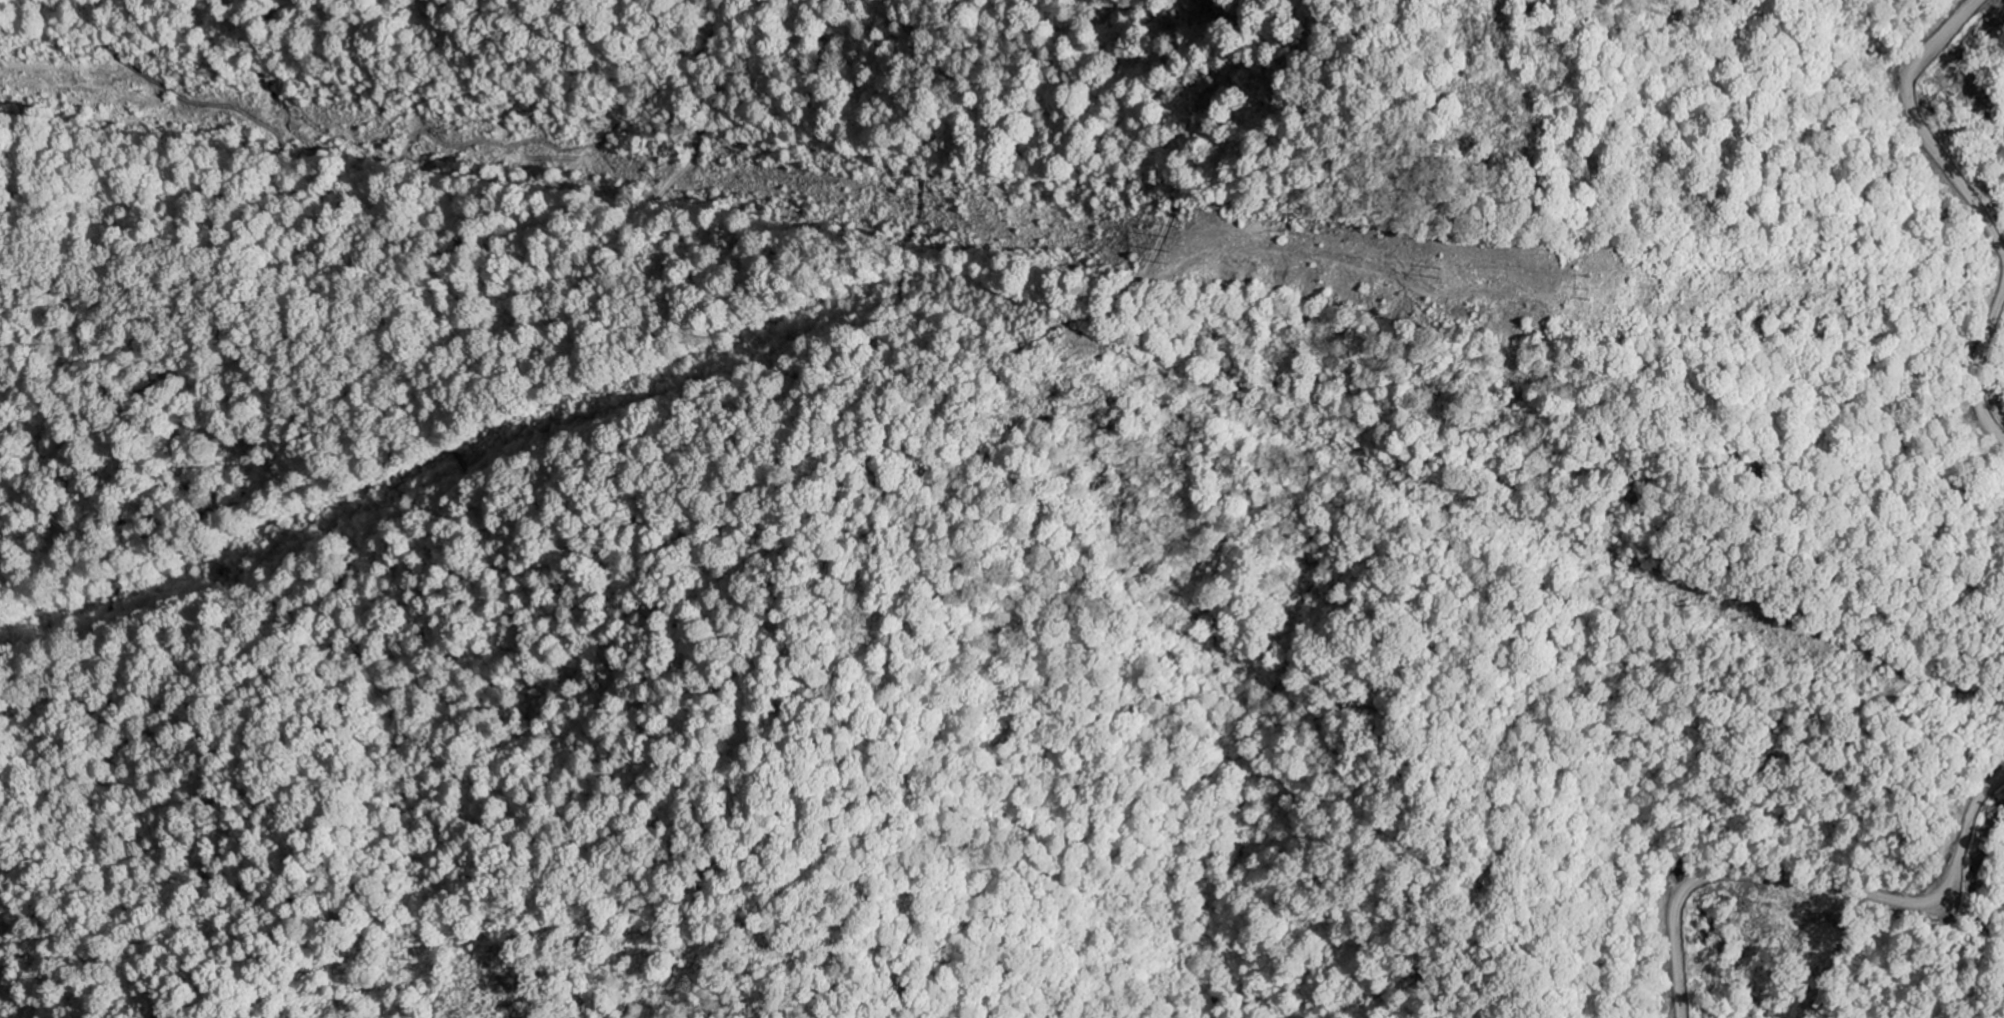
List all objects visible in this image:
road: (1987, 66)
road: (1823, 876)

